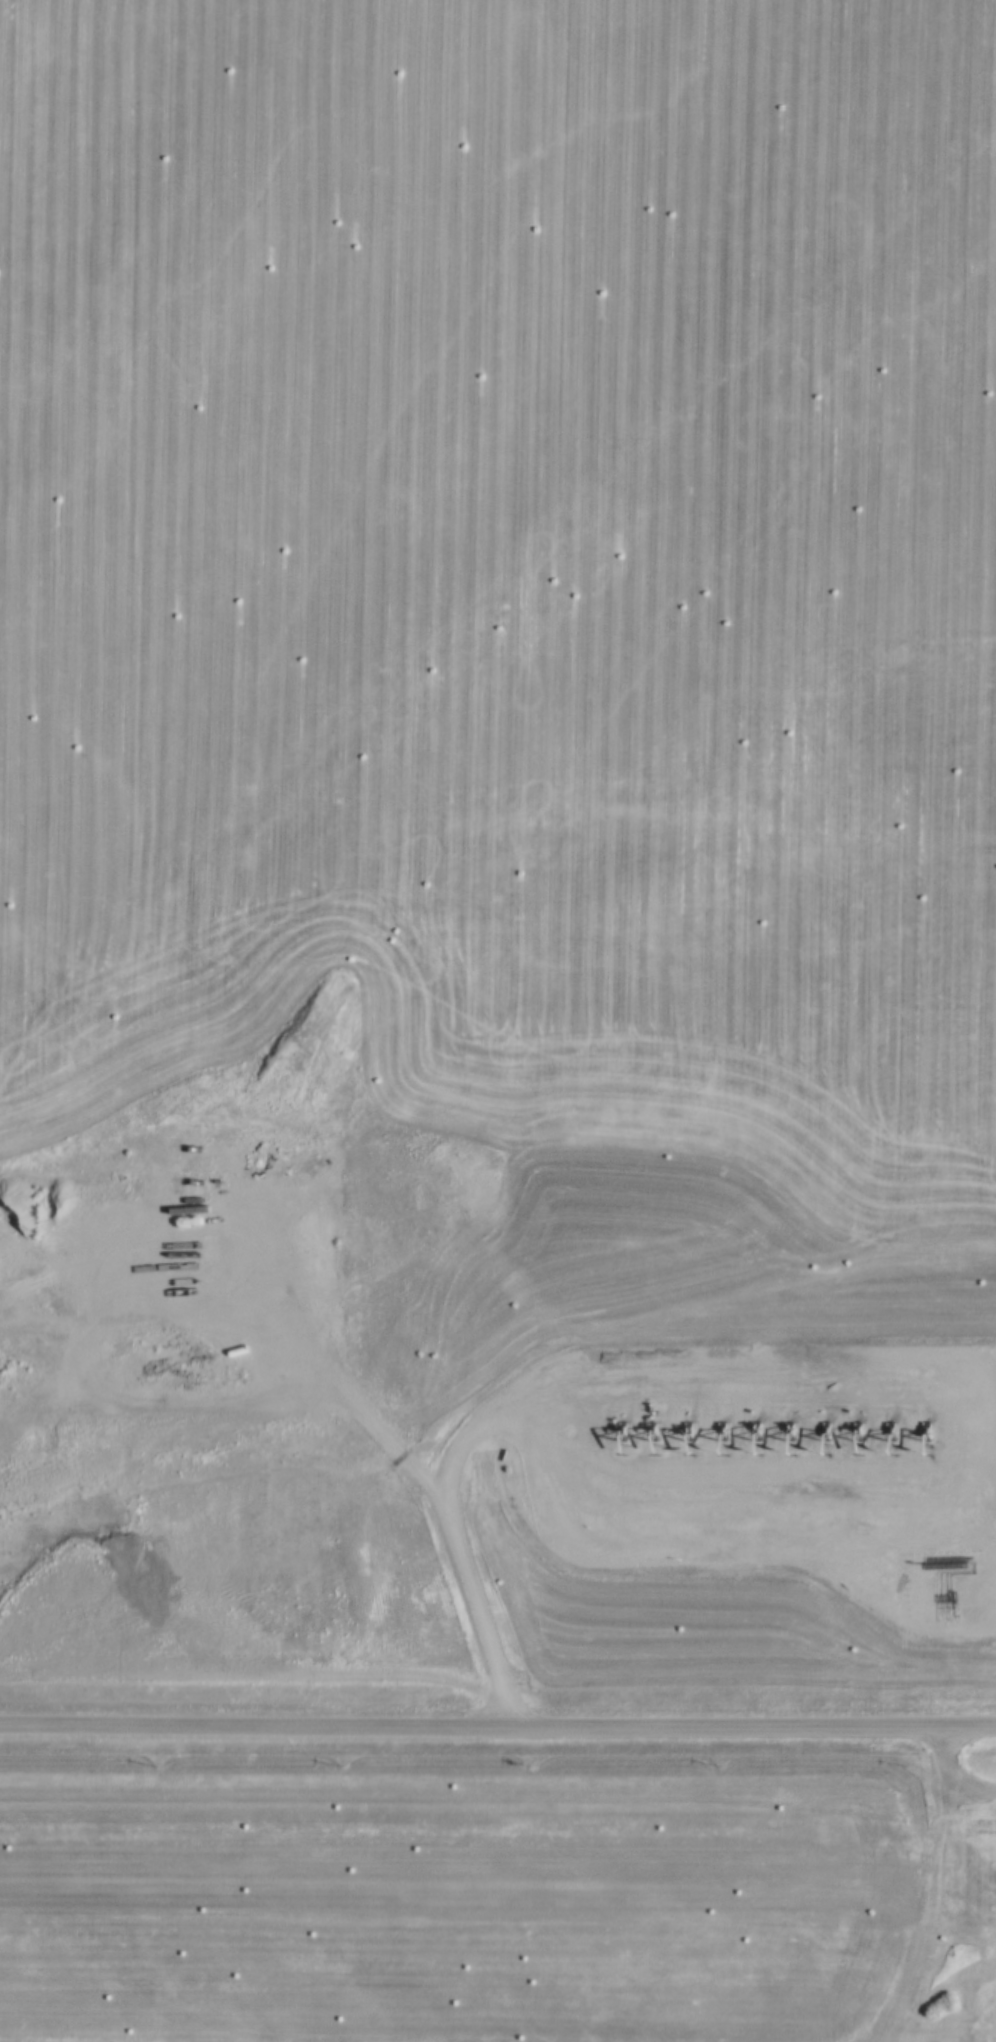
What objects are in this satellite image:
quarry: (175, 1411)
road: (497, 1731)

